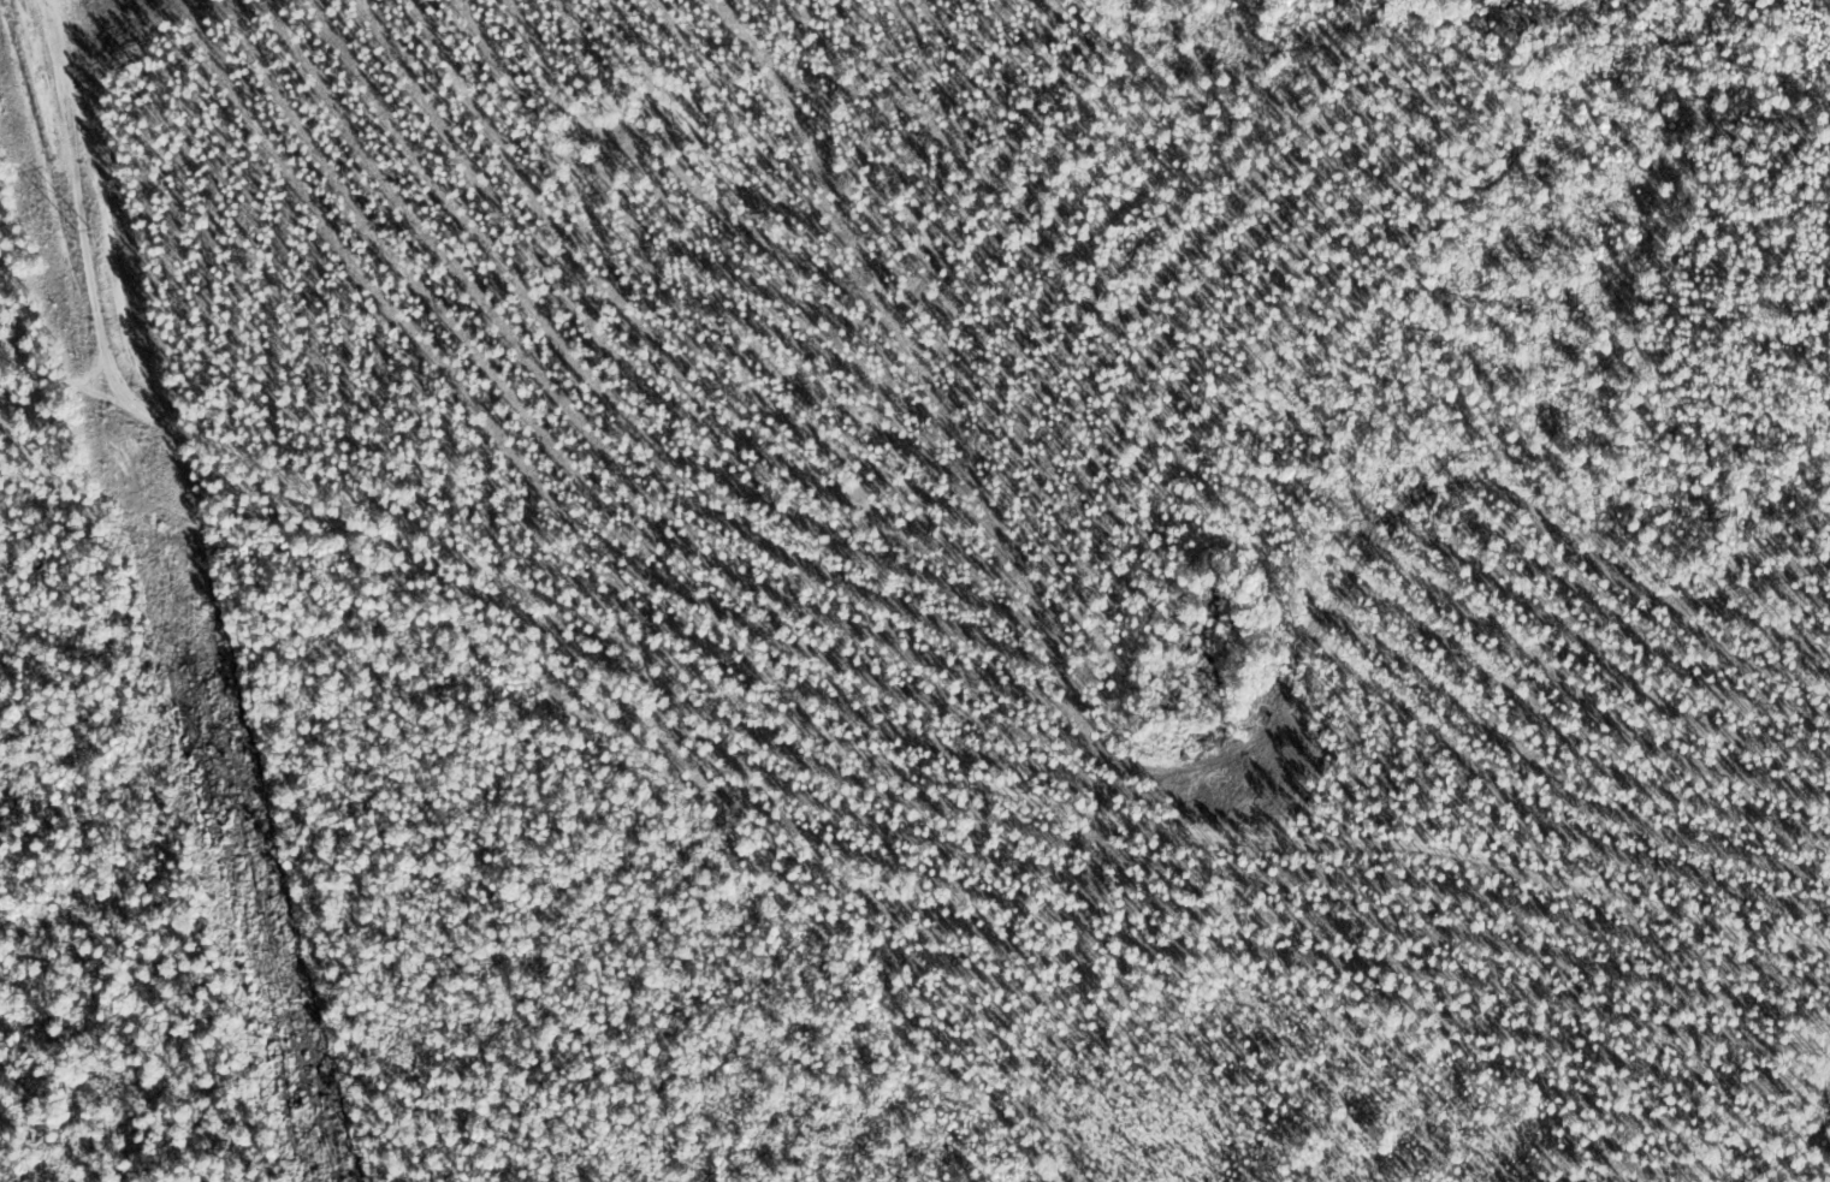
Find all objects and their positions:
power tower: (83, 230)
road: (876, 685)

